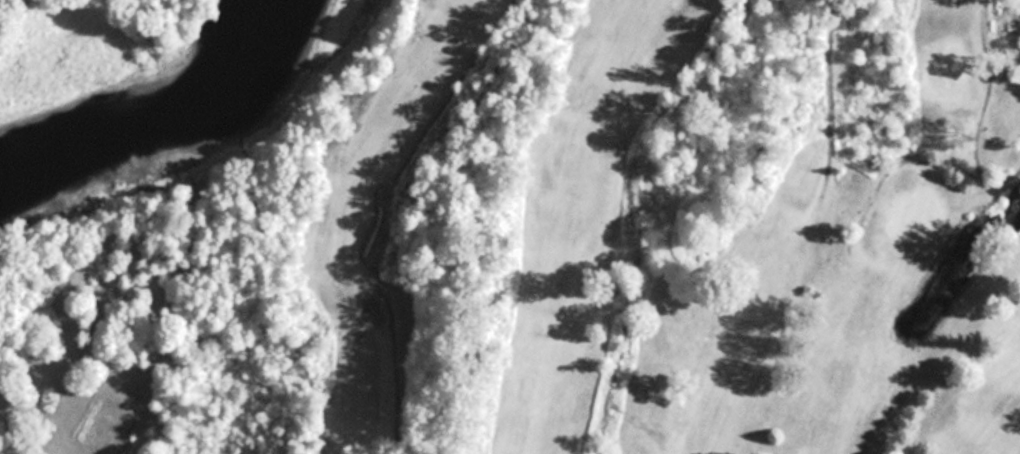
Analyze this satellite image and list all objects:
river: (170, 115)
park: (657, 231)

